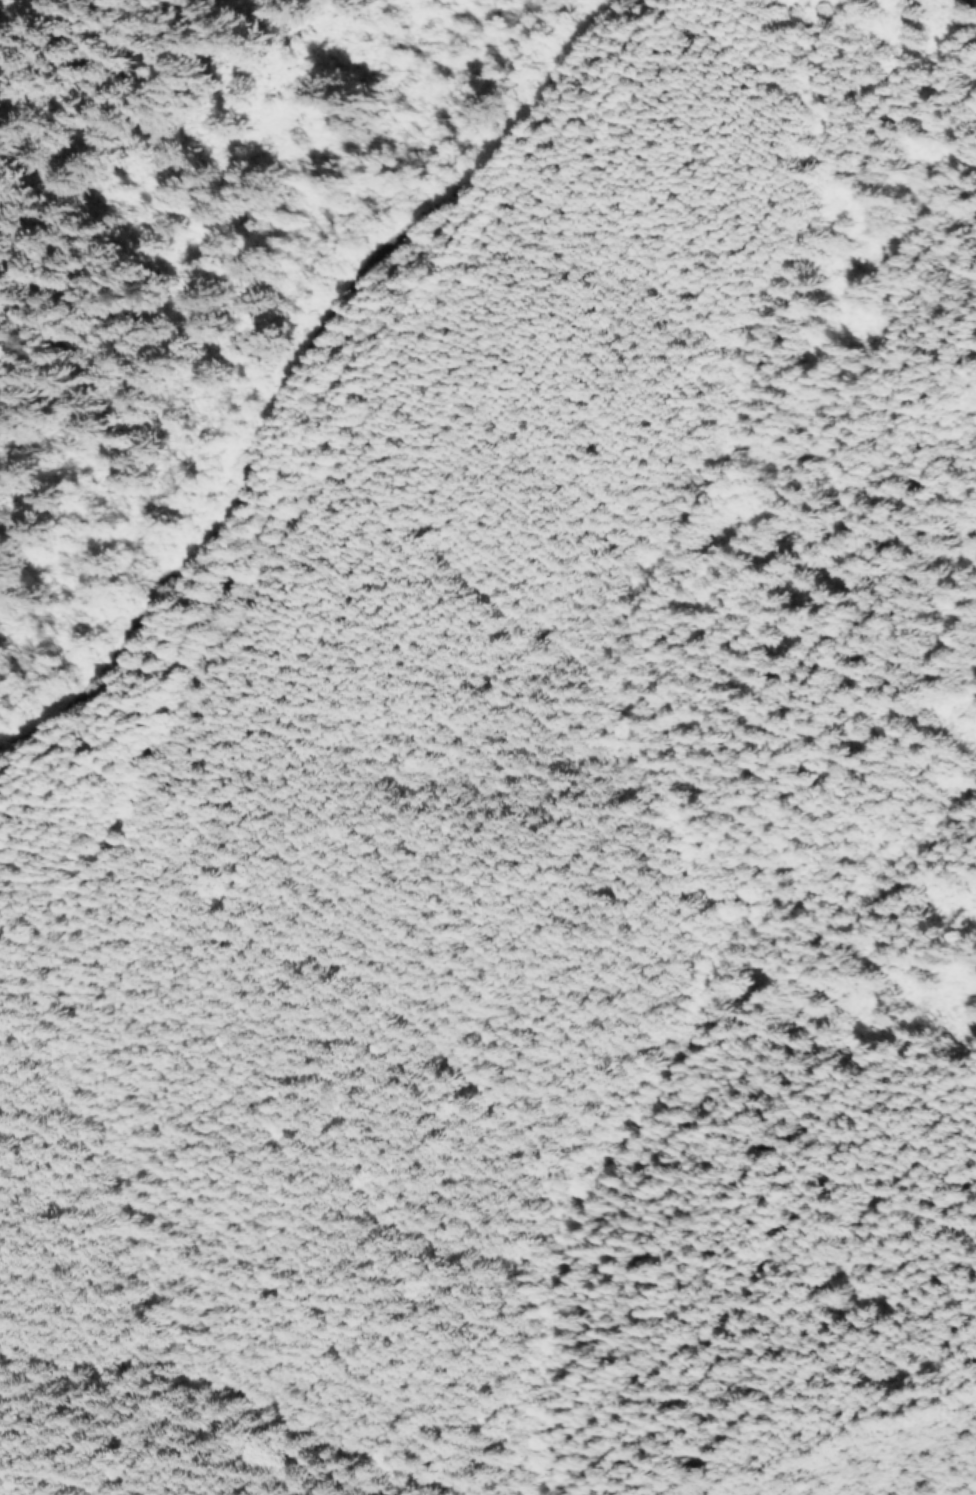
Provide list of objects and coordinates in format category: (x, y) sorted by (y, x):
road: (295, 372)

